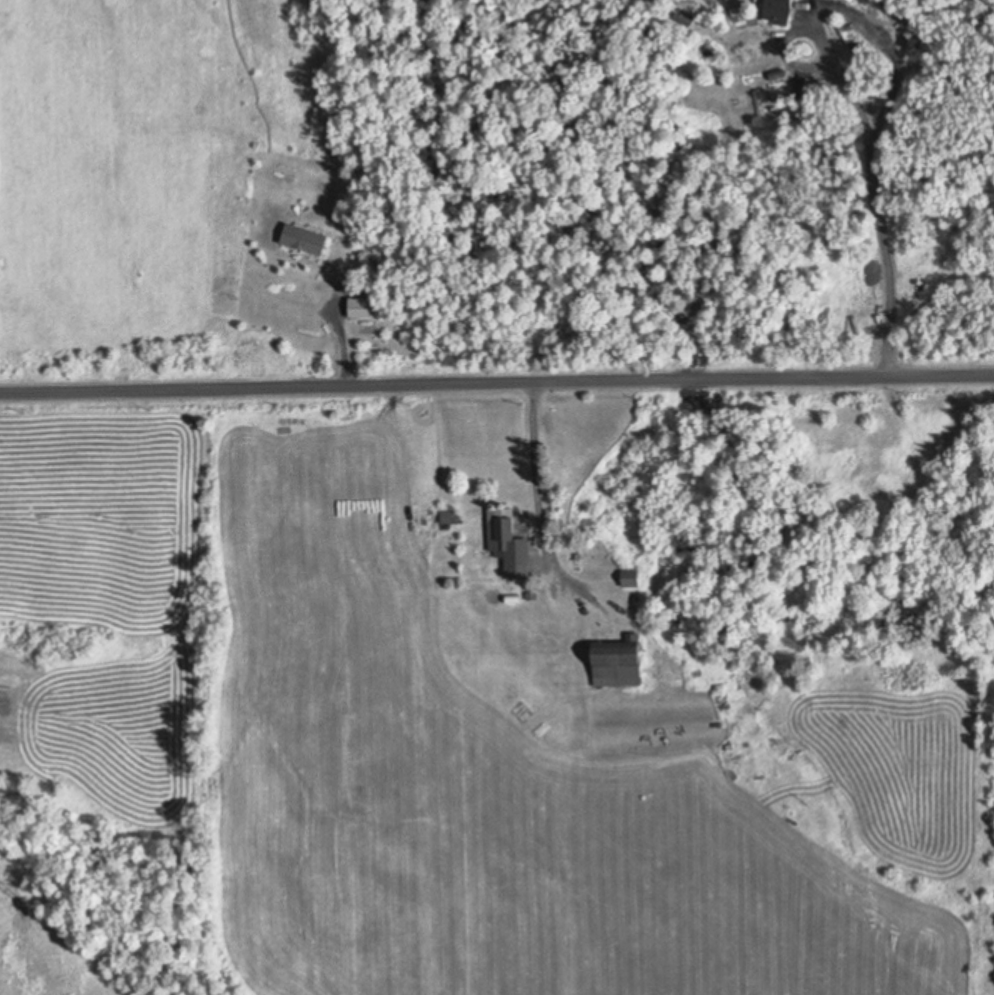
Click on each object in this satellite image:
building: (851, 0)
building: (780, 10)
building: (739, 11)
building: (684, 15)
building: (912, 38)
building: (779, 72)
building: (760, 101)
road: (871, 198)
building: (306, 236)
building: (363, 305)
road: (496, 384)
road: (538, 498)
building: (452, 515)
building: (688, 531)
building: (510, 540)
building: (632, 576)
building: (619, 660)

